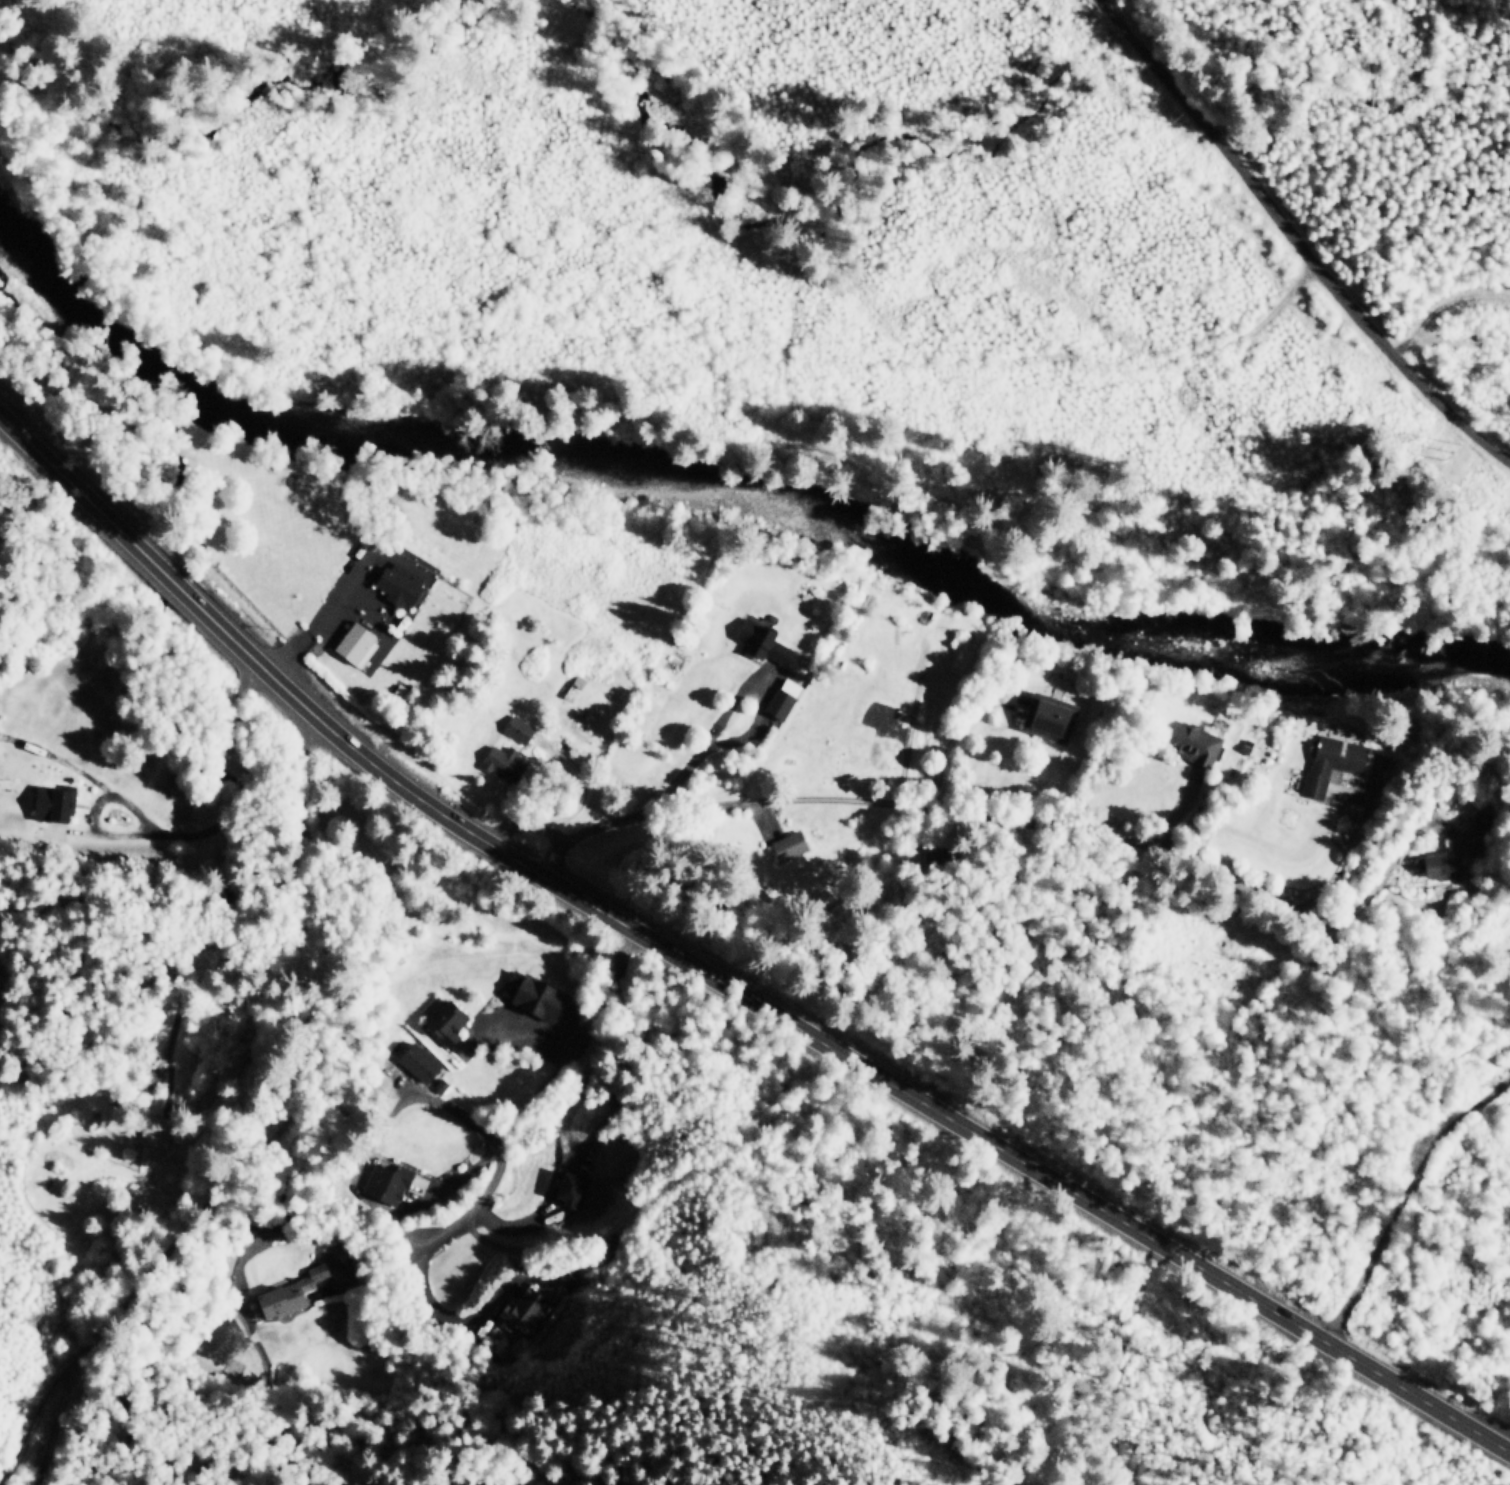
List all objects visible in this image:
road: (1302, 231)
river: (738, 465)
building: (400, 584)
road: (324, 620)
building: (354, 641)
building: (762, 641)
building: (782, 697)
building: (1047, 714)
building: (518, 728)
building: (1197, 743)
building: (1331, 761)
building: (503, 762)
building: (51, 802)
road: (1010, 819)
building: (788, 844)
building: (1443, 865)
road: (720, 978)
building: (530, 994)
building: (448, 1020)
building: (419, 1061)
road: (222, 1117)
road: (497, 1155)
building: (386, 1182)
building: (568, 1187)
road: (434, 1196)
road: (1401, 1198)
building: (291, 1291)
building: (524, 1308)
road: (37, 1454)

